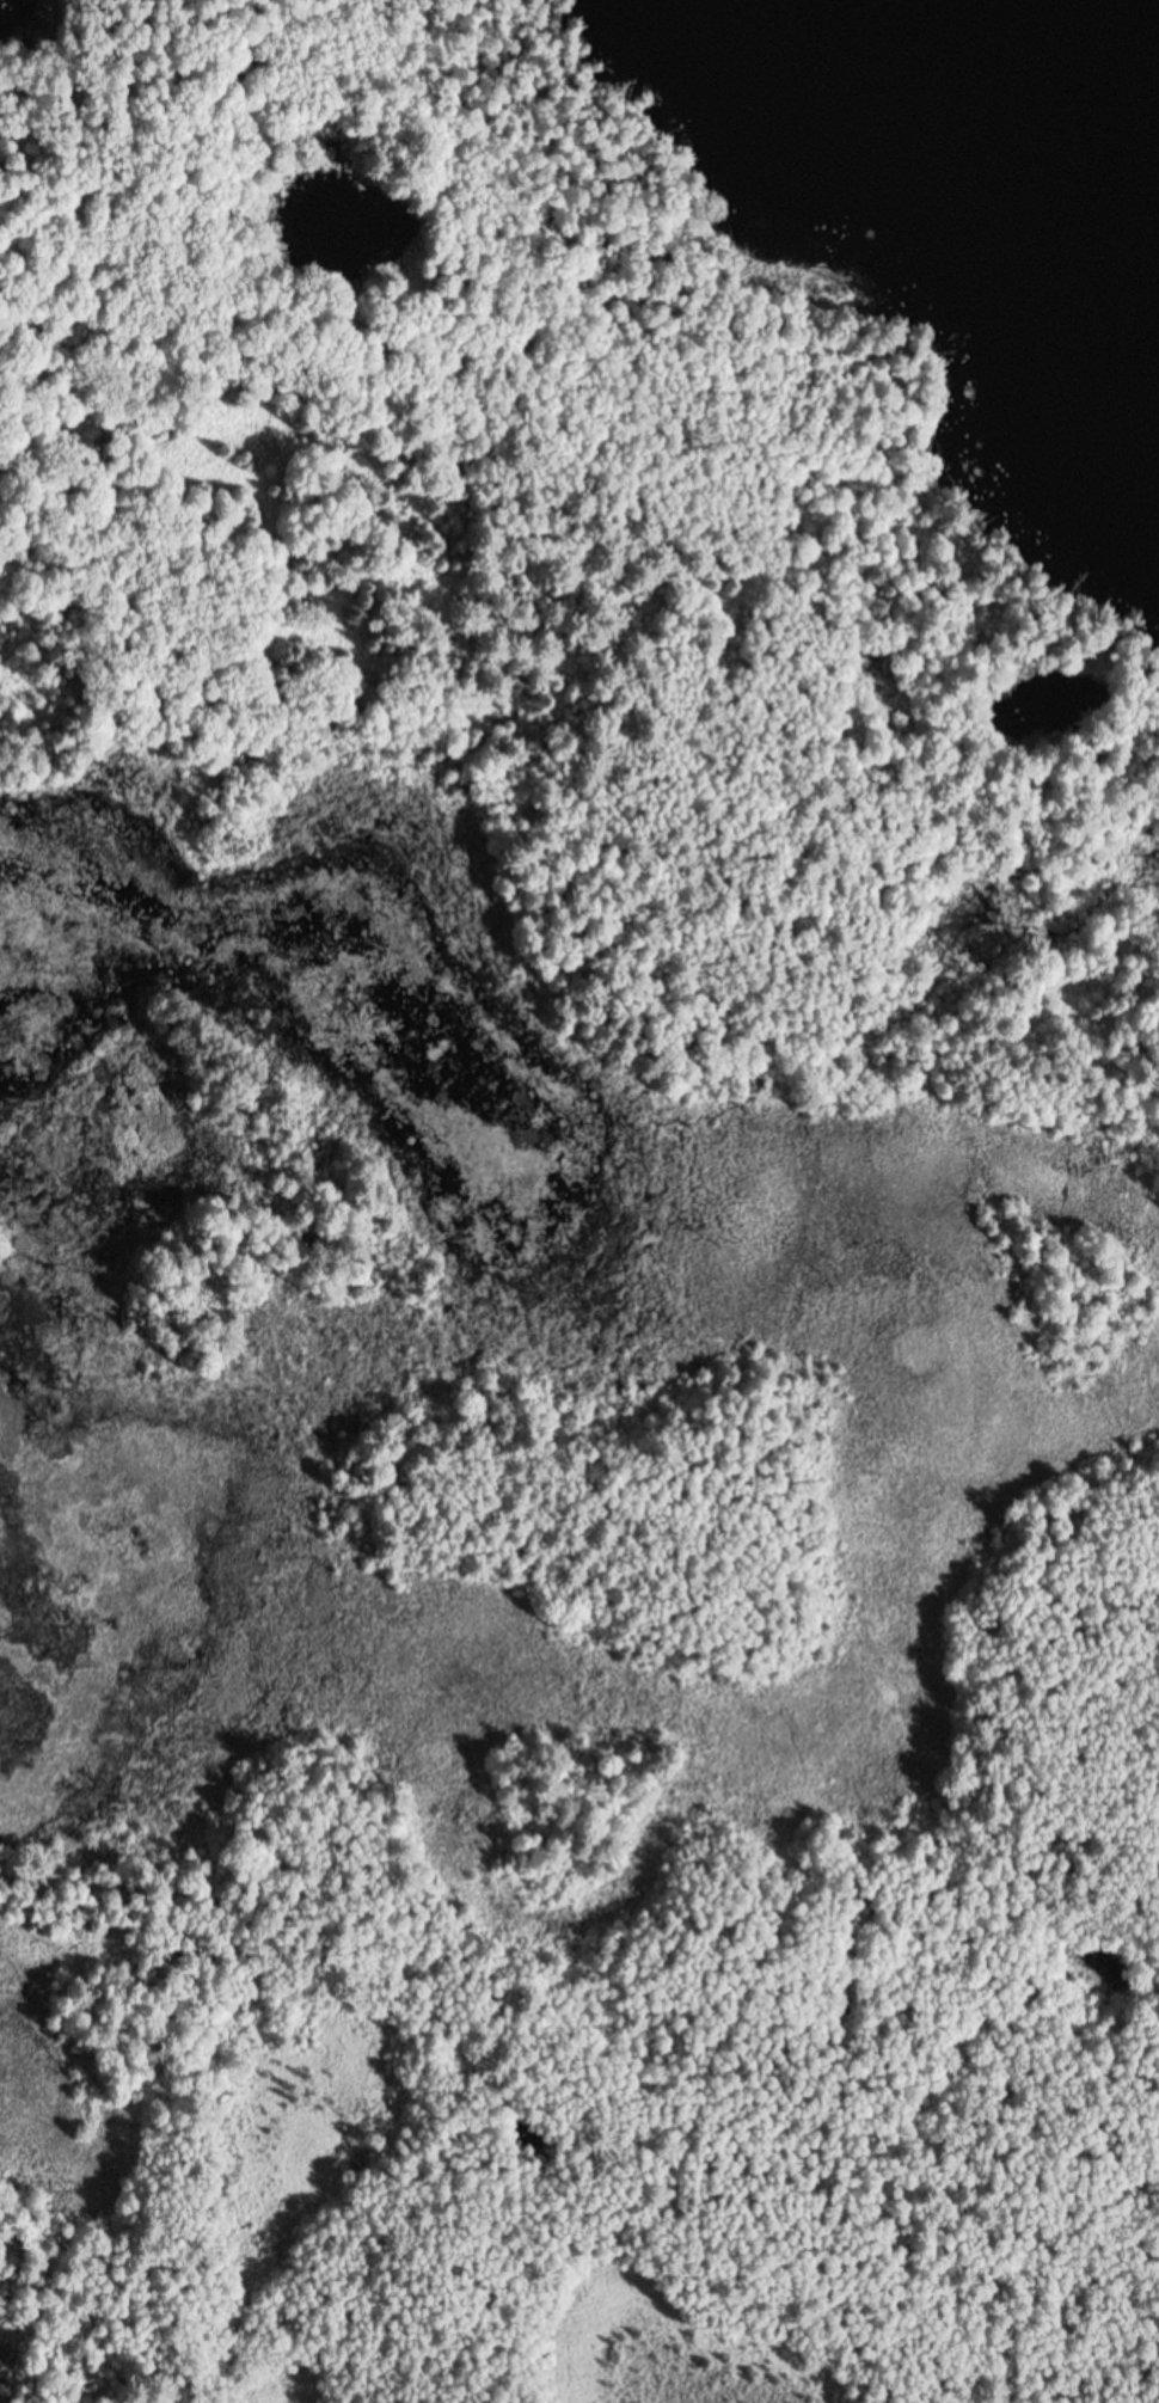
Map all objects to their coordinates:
river: (1114, 93)

